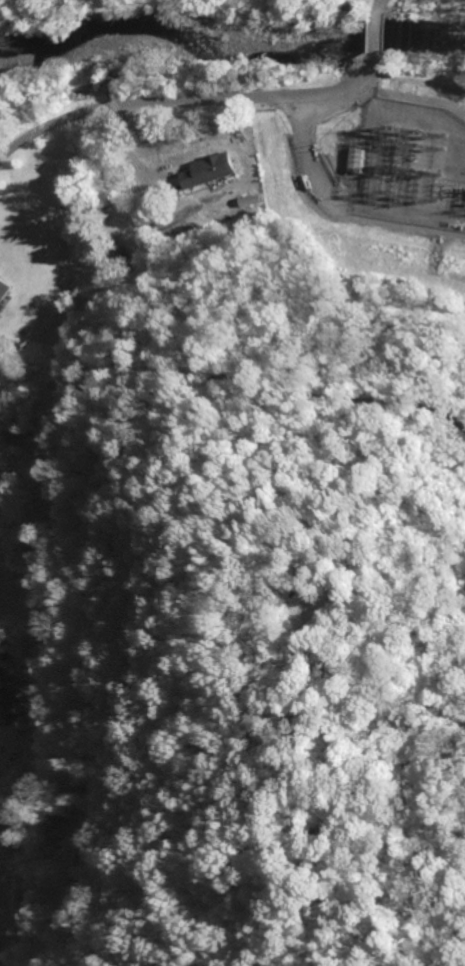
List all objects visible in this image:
road: (378, 7)
road: (375, 39)
road: (186, 103)
road: (315, 161)
power substation: (408, 162)
building: (198, 180)
building: (250, 200)
building: (175, 233)
building: (134, 245)
building: (4, 288)
building: (11, 706)
building: (54, 811)
building: (80, 859)
road: (24, 891)

